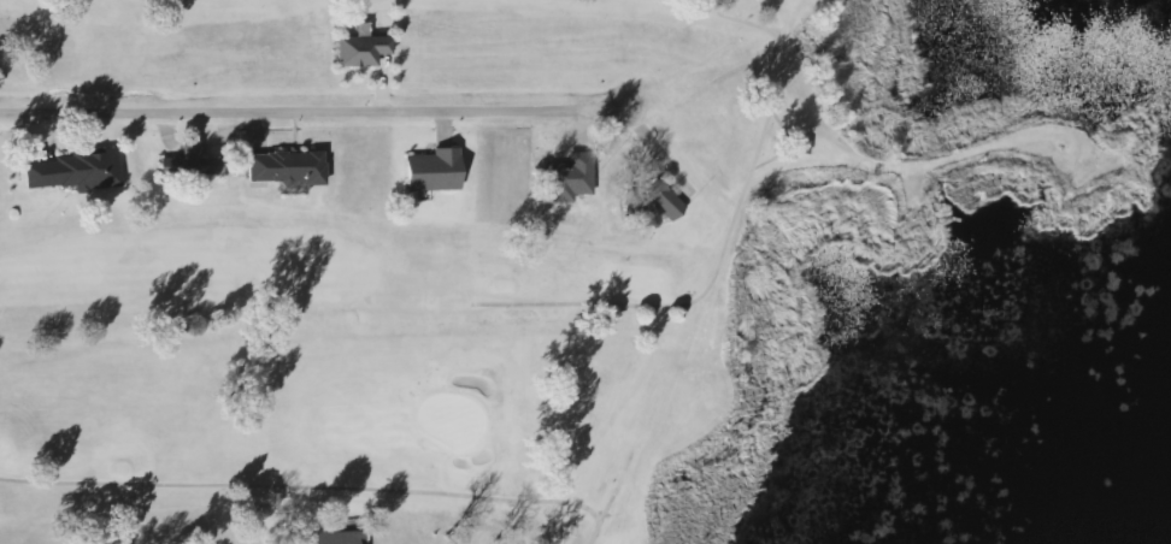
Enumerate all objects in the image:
road: (314, 107)
building: (194, 160)
building: (282, 167)
building: (71, 171)
building: (429, 171)
building: (566, 178)
building: (651, 203)
building: (330, 538)

